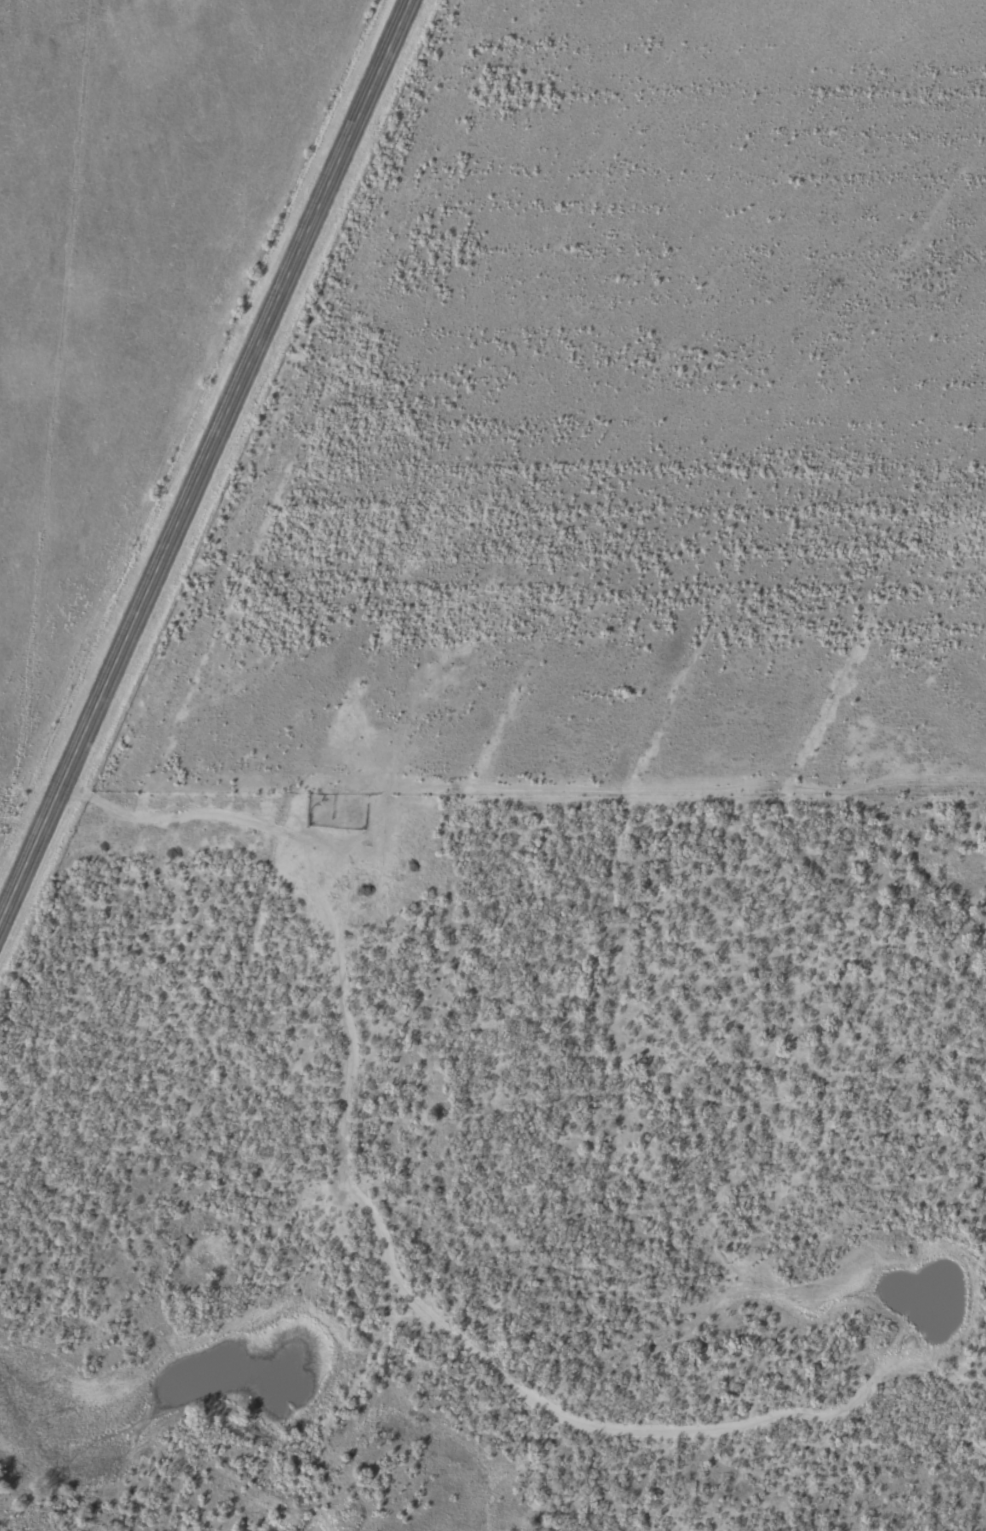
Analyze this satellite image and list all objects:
road: (208, 469)
road: (521, 823)

